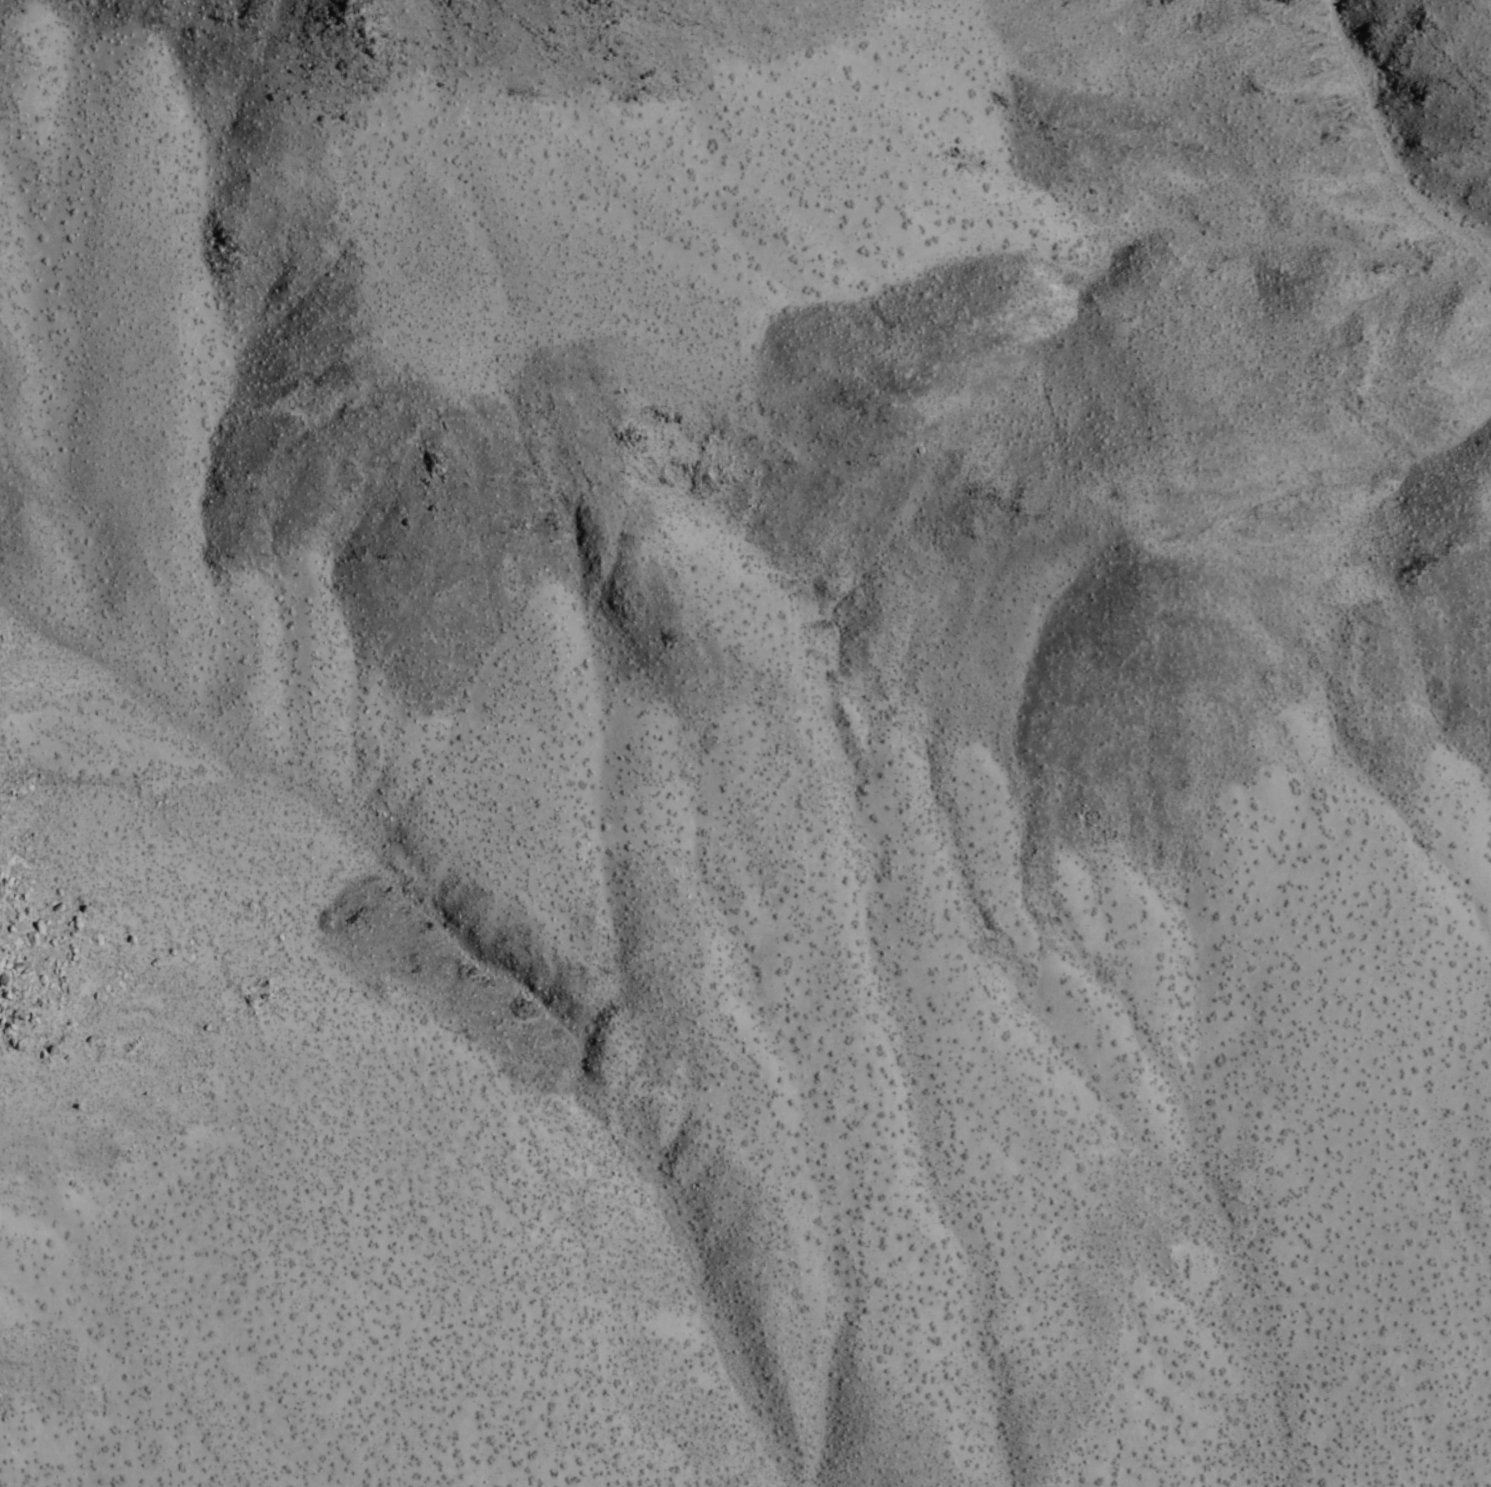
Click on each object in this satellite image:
road: (1386, 154)

